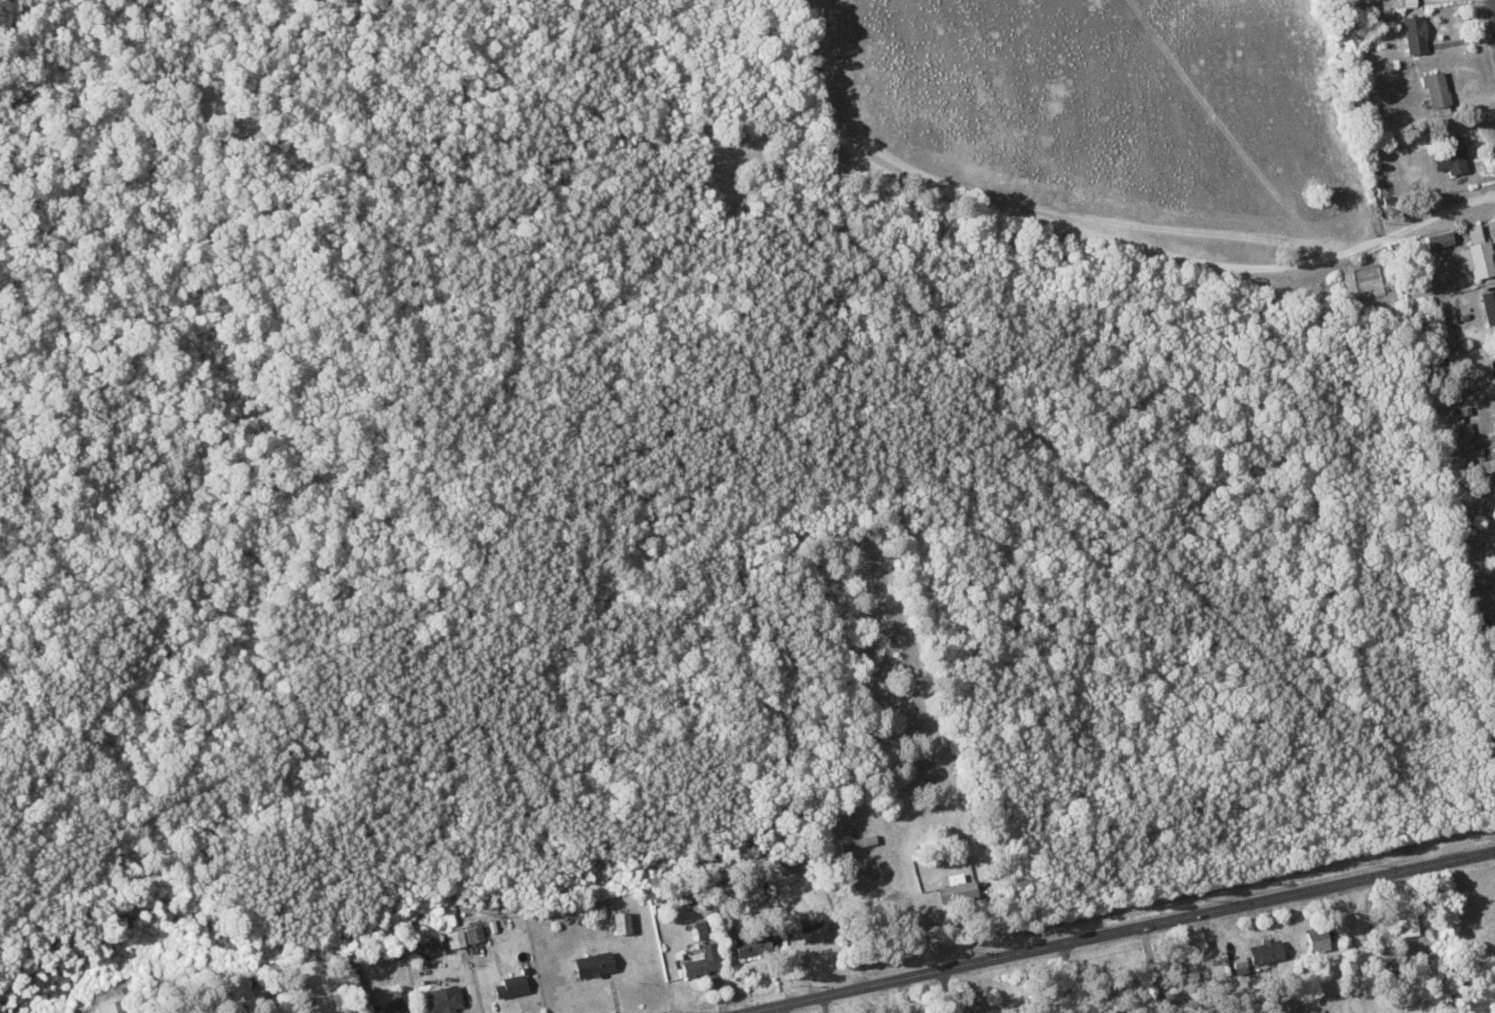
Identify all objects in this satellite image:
road: (1494, 3)
building: (1416, 33)
building: (1437, 88)
building: (1444, 112)
building: (1452, 154)
road: (1095, 229)
building: (1440, 238)
building: (1478, 253)
building: (1490, 305)
building: (1493, 358)
building: (958, 889)
building: (622, 922)
building: (1408, 924)
building: (817, 930)
road: (1116, 931)
building: (475, 933)
building: (1318, 937)
building: (456, 938)
building: (748, 941)
road: (1356, 946)
building: (1266, 950)
building: (702, 954)
building: (594, 964)
building: (512, 985)
building: (444, 998)
building: (115, 1007)
building: (388, 1007)

